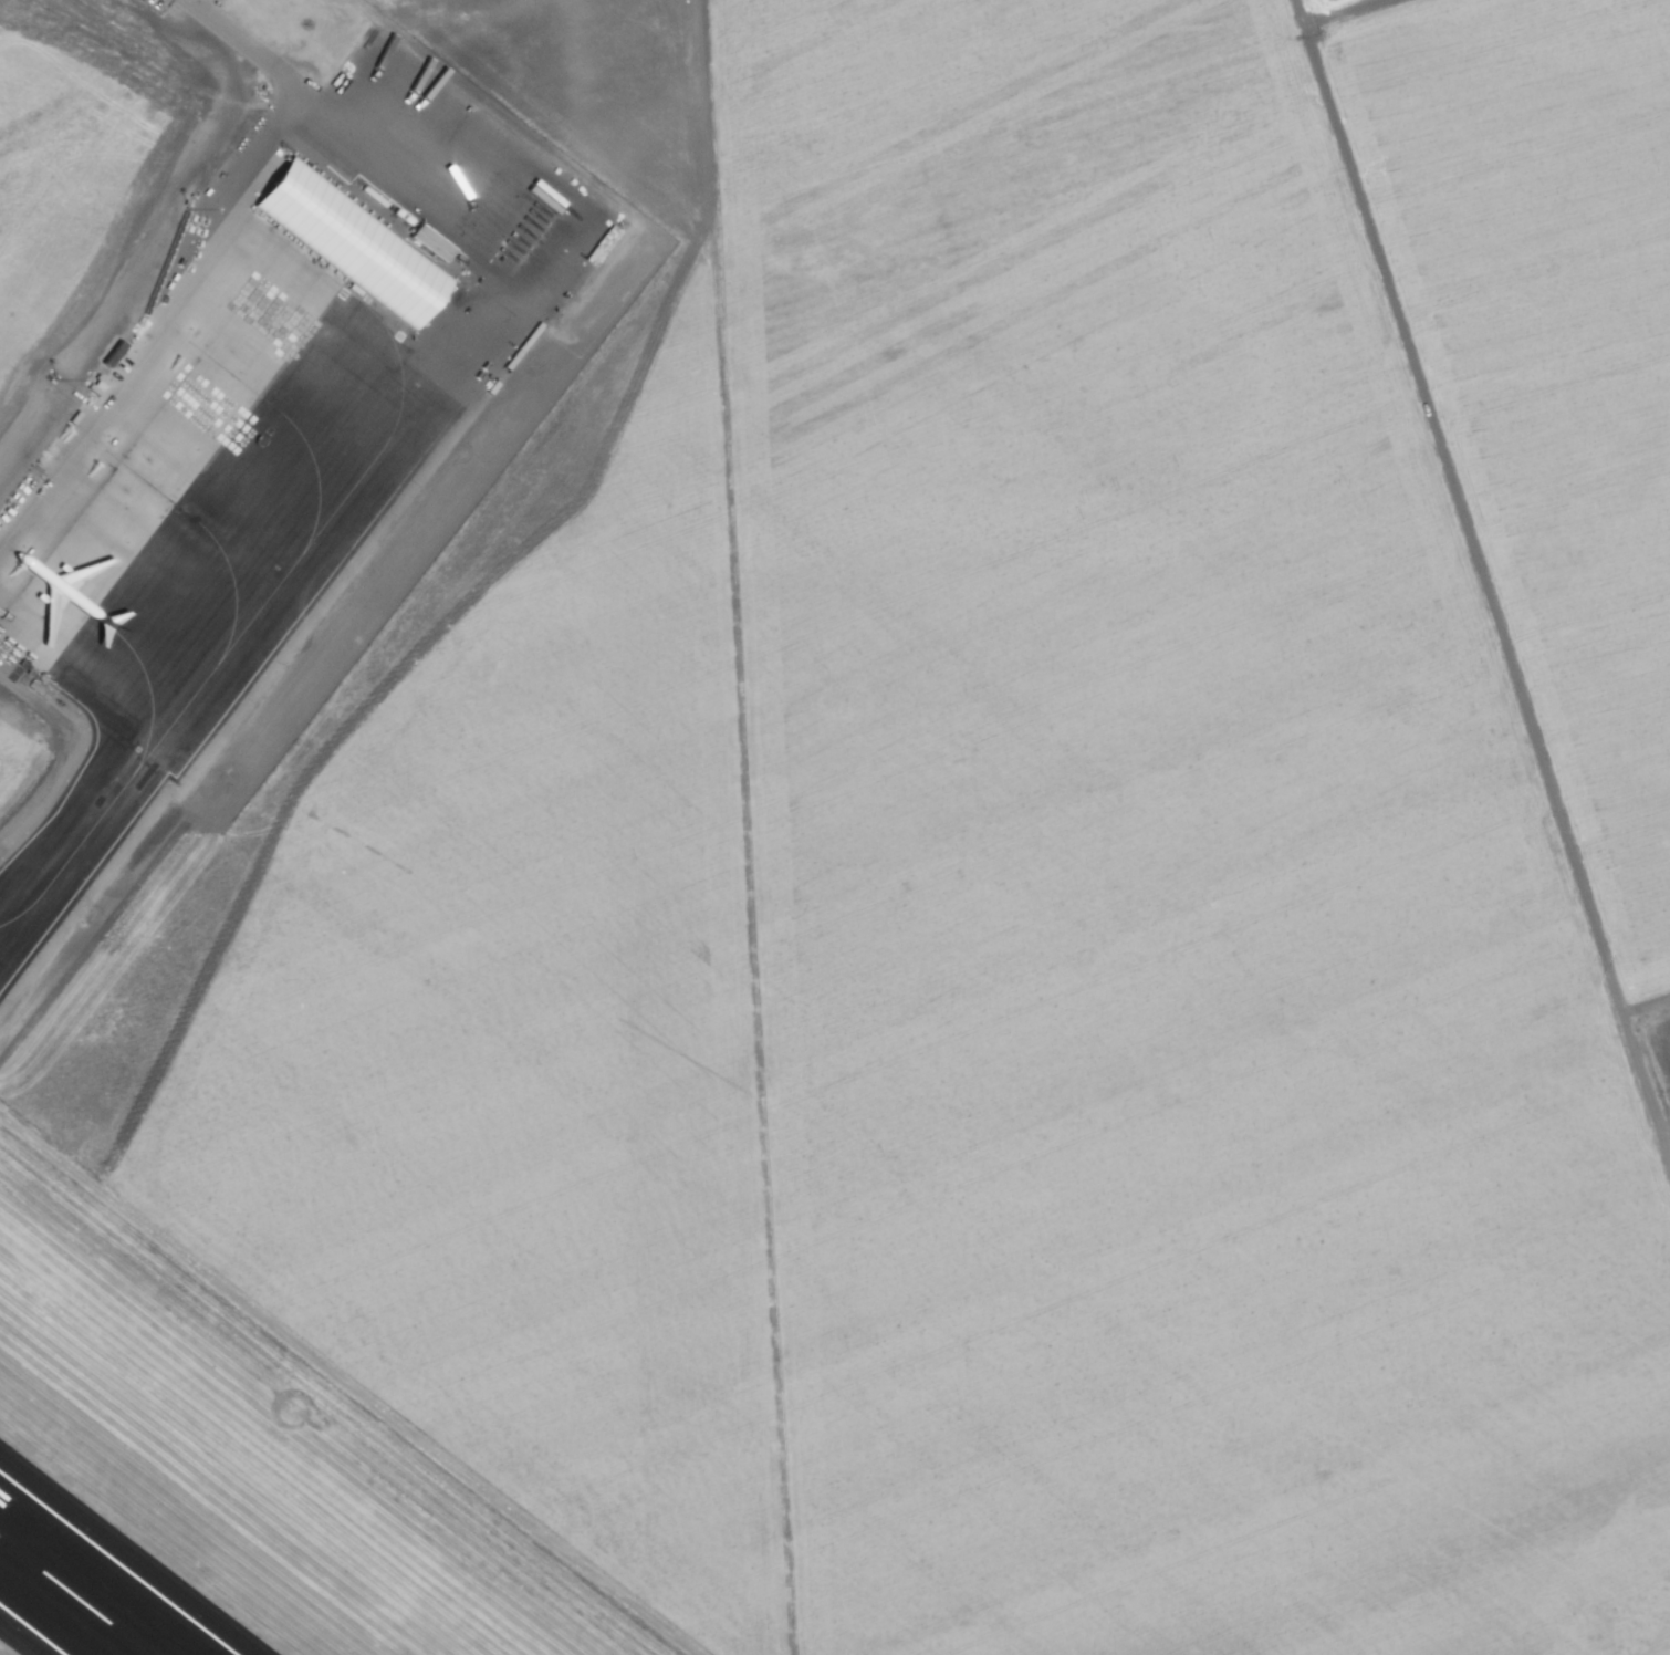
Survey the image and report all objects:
building: (351, 242)
building: (430, 242)
airport taxiway: (290, 423)
airport: (191, 433)
airport apron: (232, 458)
airport taxiway: (208, 533)
airport taxiway: (279, 581)
airport taxiway: (124, 642)
crop: (973, 883)
airport: (152, 1519)
airport runway: (74, 1596)

